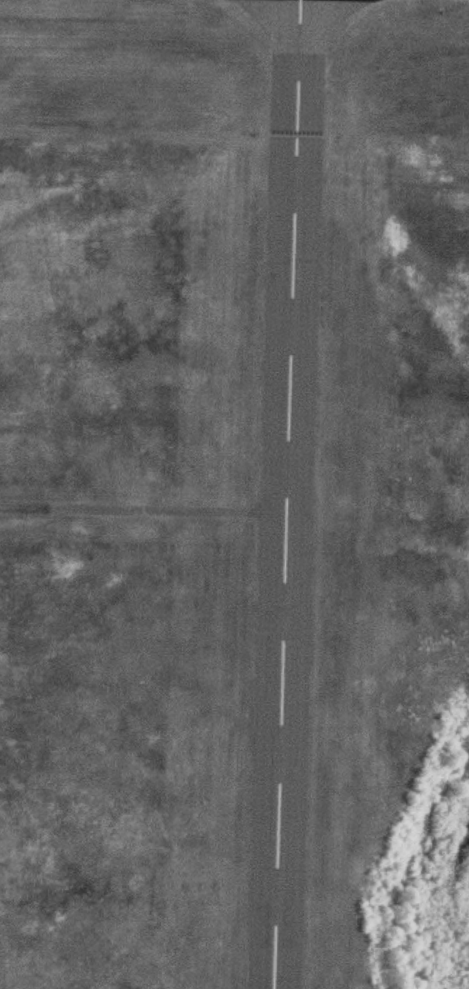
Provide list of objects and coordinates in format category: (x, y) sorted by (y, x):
airport: (225, 476)
airport runway: (283, 494)

